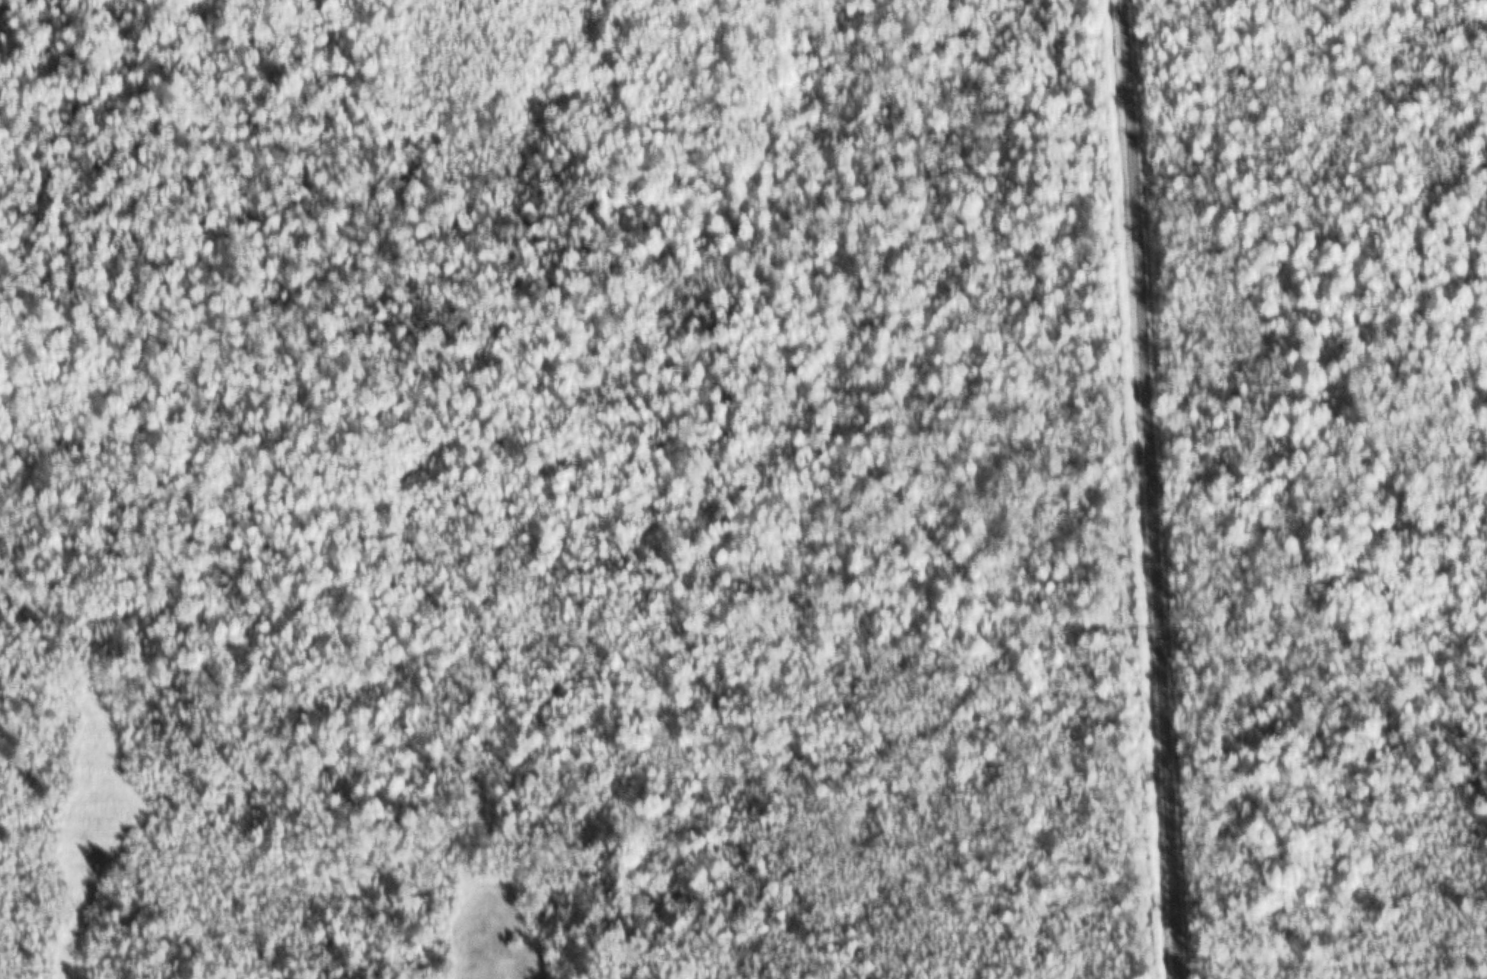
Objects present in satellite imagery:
road: (1153, 489)

